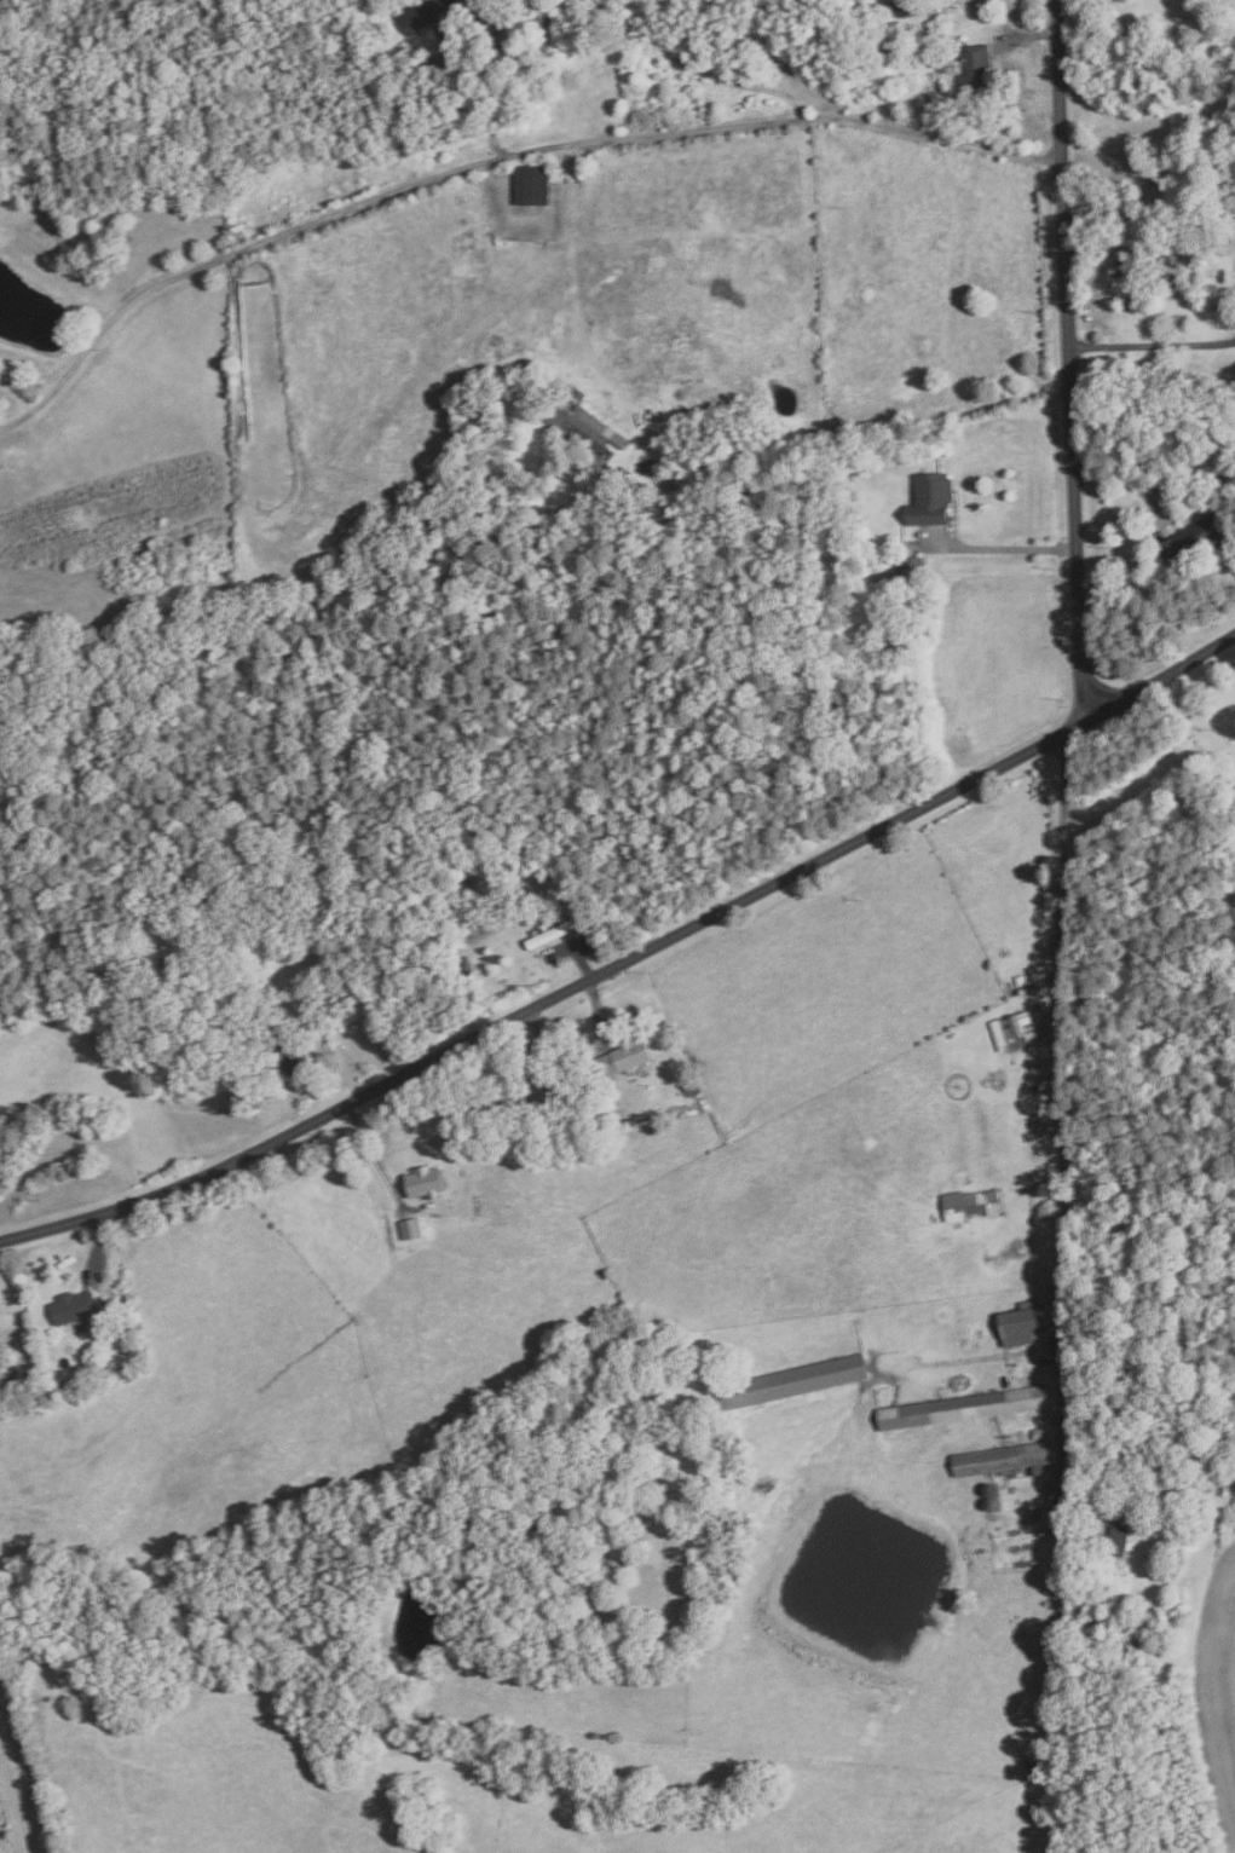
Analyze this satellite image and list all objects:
building: (422, 13)
building: (883, 34)
road: (1028, 35)
road: (768, 41)
road: (664, 44)
building: (948, 56)
building: (977, 70)
road: (519, 86)
road: (837, 117)
building: (532, 185)
building: (1158, 202)
road: (278, 236)
building: (1225, 241)
building: (1168, 261)
road: (1152, 346)
road: (1069, 360)
building: (583, 426)
building: (295, 439)
building: (606, 472)
road: (1127, 485)
building: (933, 500)
building: (1193, 539)
road: (1005, 549)
building: (912, 573)
building: (506, 864)
building: (556, 872)
building: (342, 914)
building: (559, 933)
building: (265, 956)
road: (628, 959)
building: (468, 970)
road: (596, 1014)
building: (331, 1018)
building: (1022, 1029)
building: (624, 1056)
building: (290, 1060)
building: (519, 1069)
building: (692, 1086)
building: (581, 1101)
road: (1062, 1120)
road: (375, 1156)
building: (427, 1182)
building: (982, 1202)
building: (414, 1228)
road: (97, 1246)
building: (110, 1295)
building: (75, 1306)
building: (129, 1317)
building: (1022, 1324)
building: (793, 1381)
building: (964, 1407)
building: (1040, 1433)
building: (1004, 1459)
road: (1199, 1482)
building: (1090, 1495)
building: (1120, 1532)
building: (1126, 1638)
crop: (1217, 1693)
road: (22, 1774)

